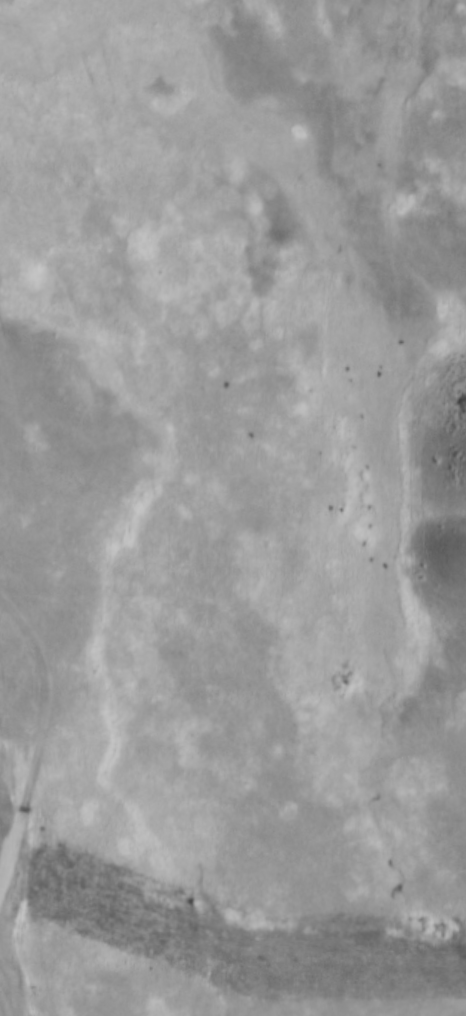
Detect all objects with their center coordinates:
road: (216, 459)
road: (30, 756)

